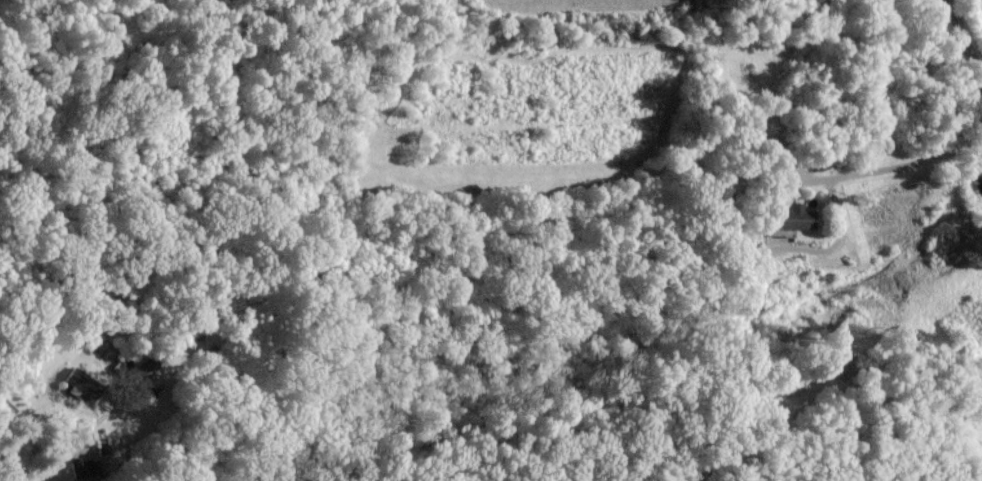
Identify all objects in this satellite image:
road: (948, 86)
building: (785, 219)
building: (72, 377)
road: (46, 461)
building: (76, 467)

